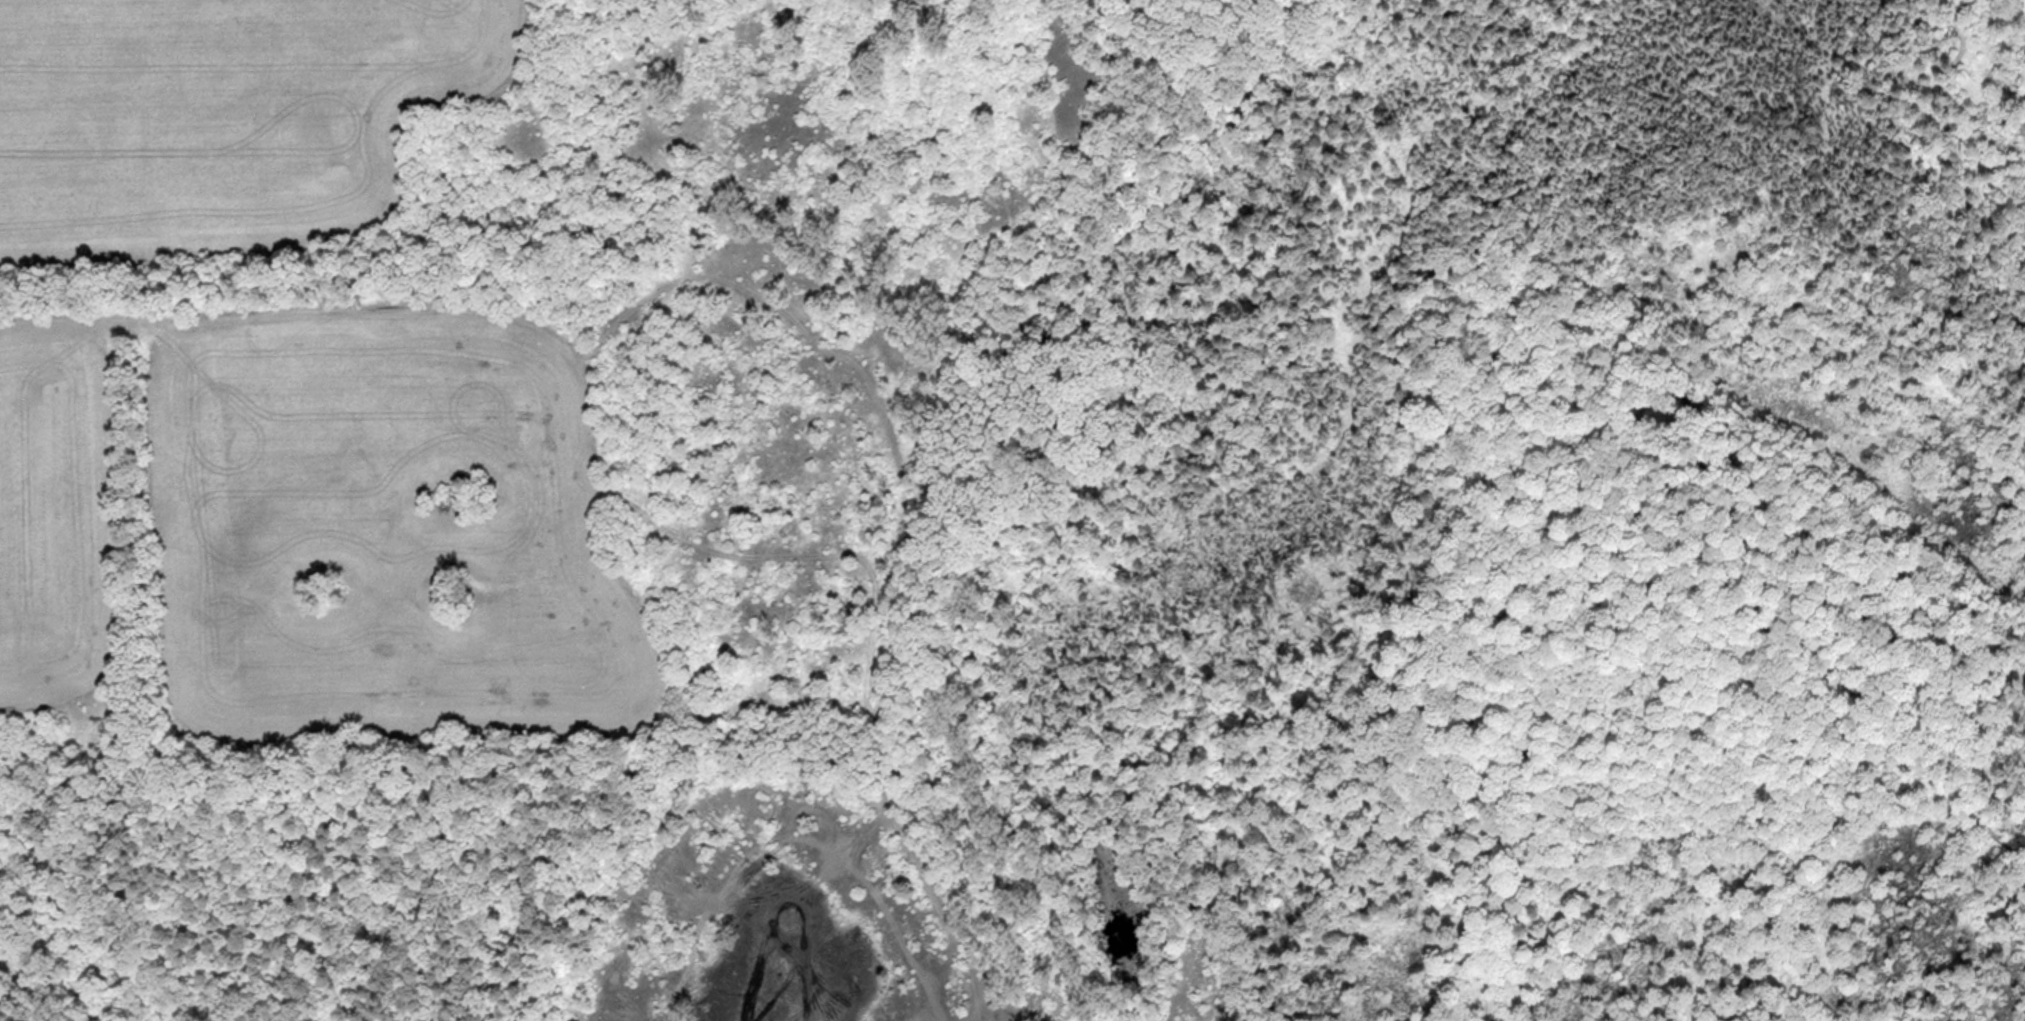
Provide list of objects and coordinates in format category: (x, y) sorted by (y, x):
park: (1760, 547)

